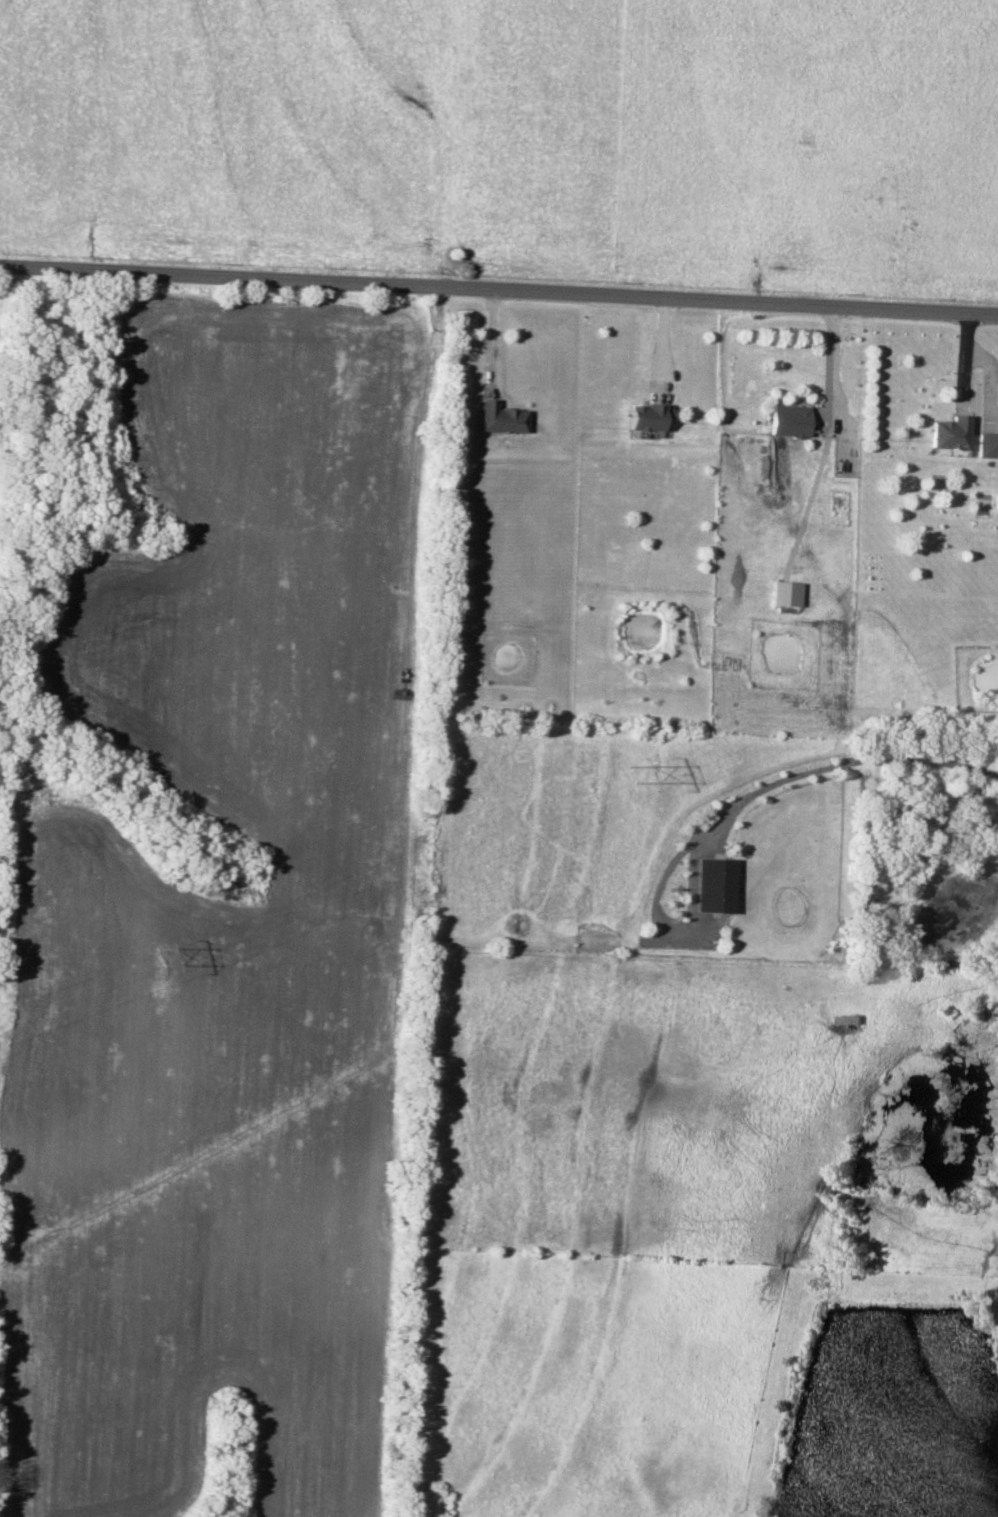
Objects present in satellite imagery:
road: (499, 289)
road: (665, 348)
road: (830, 358)
building: (648, 416)
building: (500, 417)
building: (789, 420)
building: (950, 432)
building: (988, 445)
building: (997, 501)
building: (785, 593)
road: (842, 763)
power tower: (633, 771)
building: (713, 885)
power tower: (162, 953)

